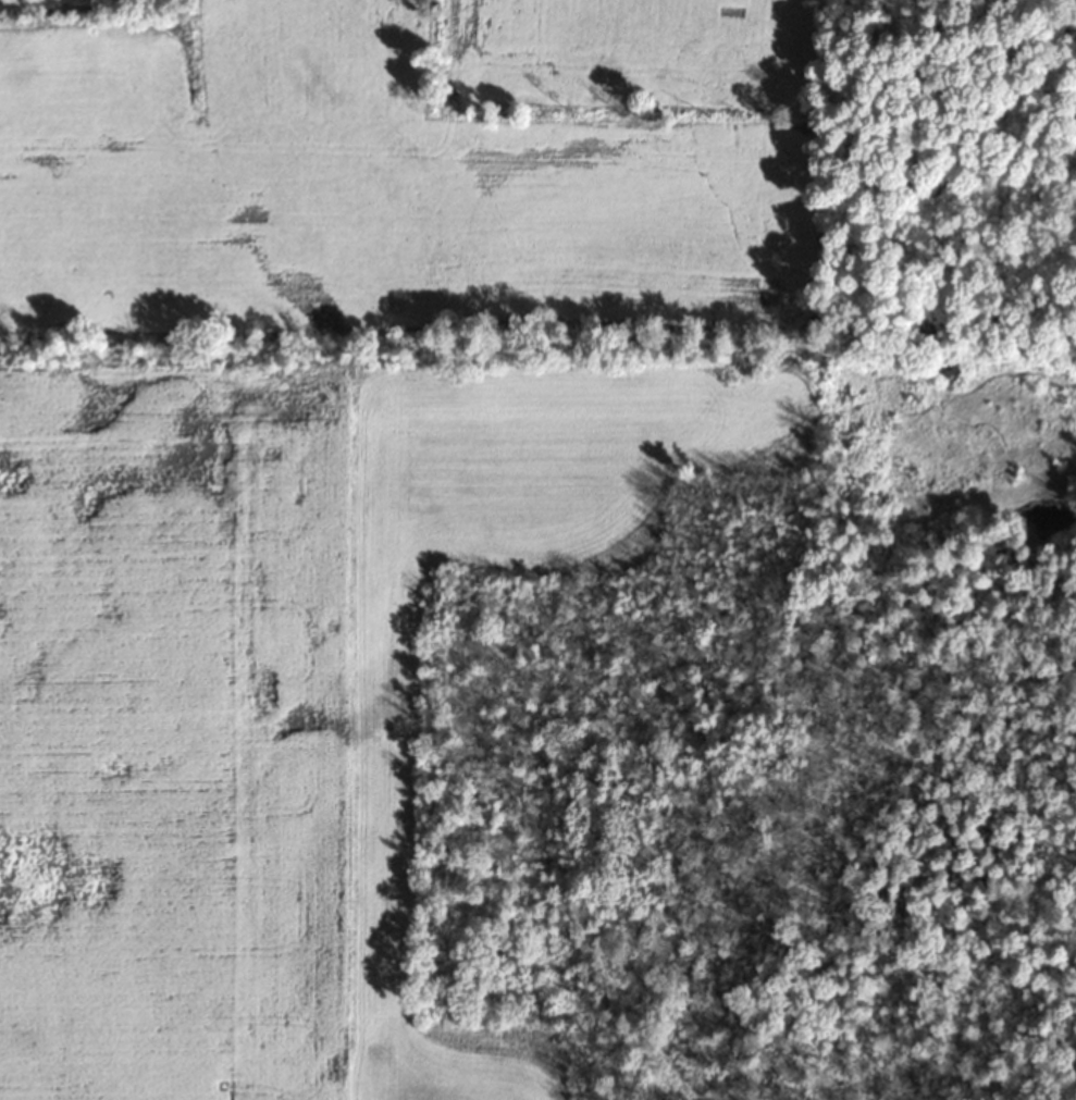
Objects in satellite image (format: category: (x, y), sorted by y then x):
building: (945, 372)

